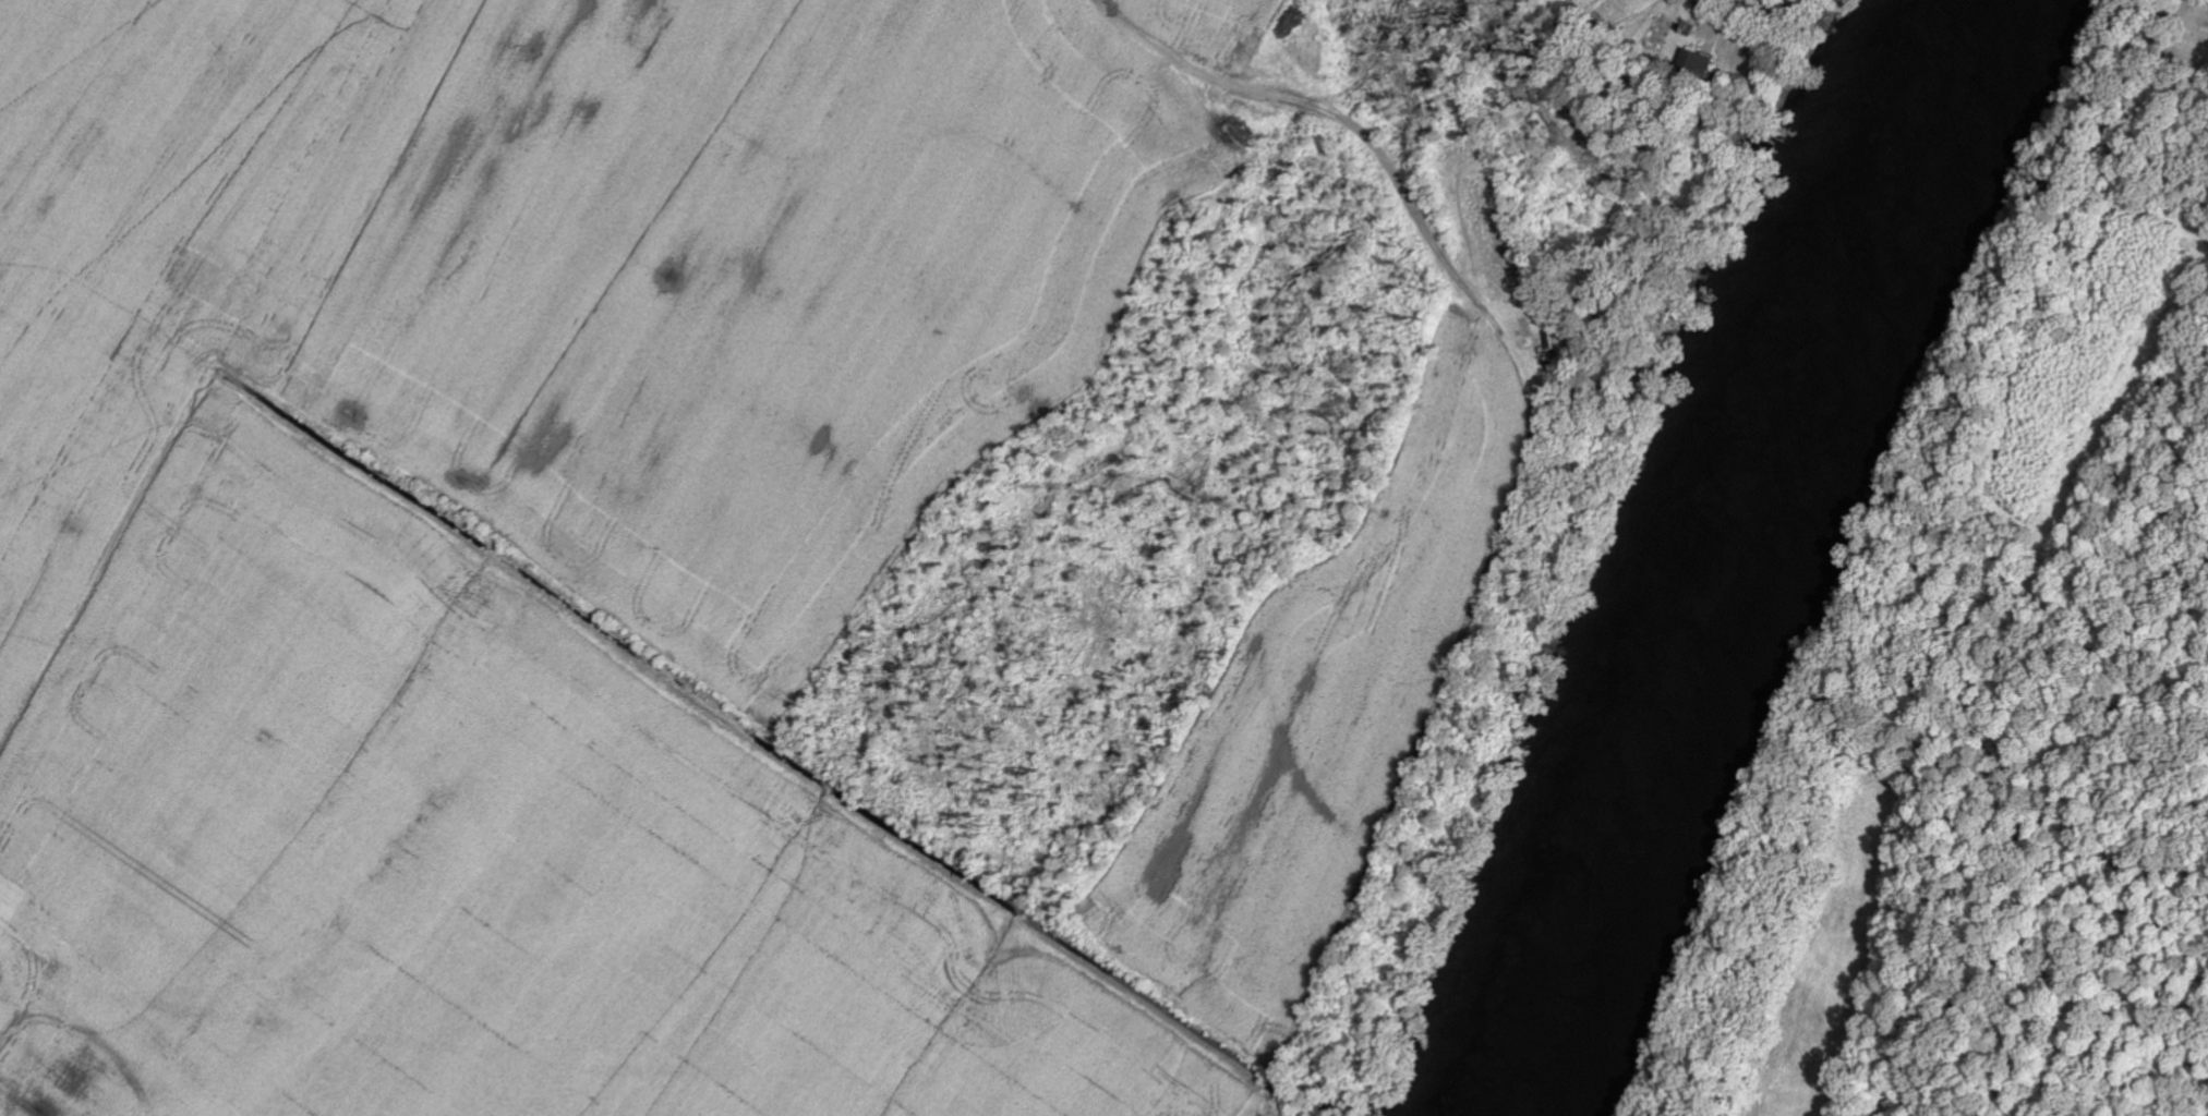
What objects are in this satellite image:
river: (1709, 557)

